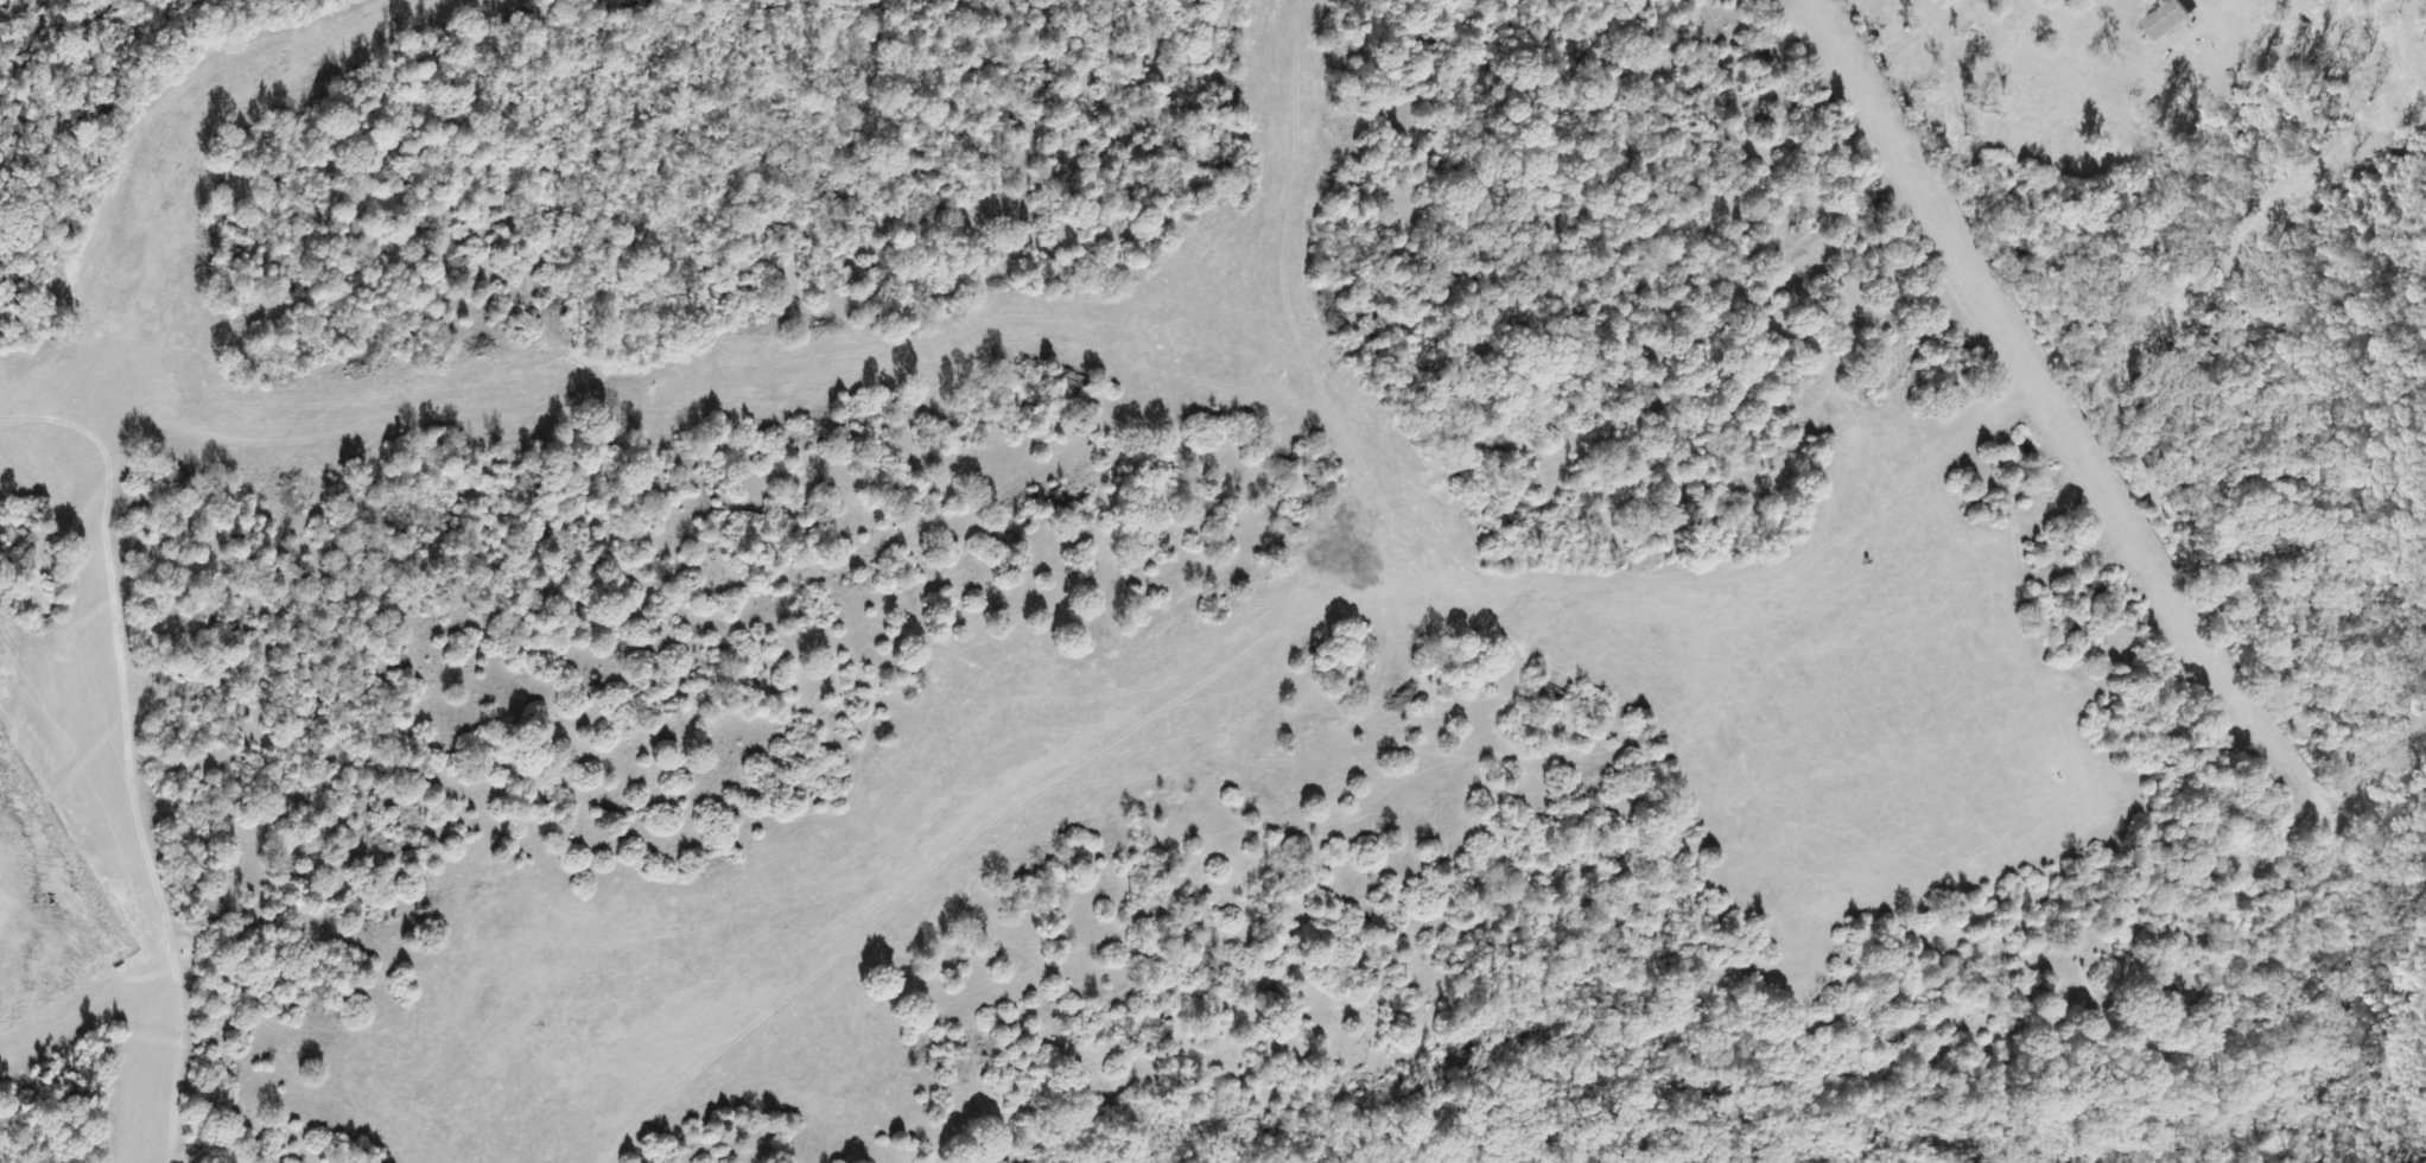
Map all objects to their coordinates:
building: (2171, 20)
road: (68, 1002)

